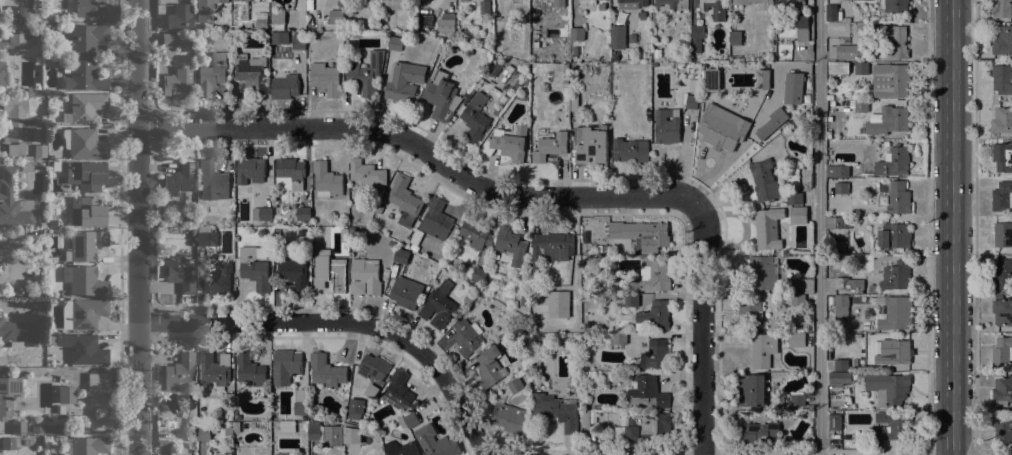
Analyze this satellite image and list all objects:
building: (245, 0)
building: (462, 0)
building: (588, 2)
building: (559, 3)
building: (789, 3)
building: (398, 4)
building: (632, 4)
building: (674, 4)
building: (309, 5)
building: (894, 5)
building: (602, 6)
building: (768, 6)
building: (484, 7)
building: (89, 8)
building: (1002, 8)
building: (206, 9)
building: (714, 9)
building: (831, 12)
building: (23, 15)
building: (641, 15)
building: (336, 17)
building: (278, 19)
building: (384, 19)
building: (173, 21)
building: (262, 23)
building: (448, 25)
building: (802, 27)
building: (32, 29)
building: (16, 32)
building: (460, 32)
building: (299, 33)
building: (577, 34)
building: (279, 37)
building: (536, 37)
building: (618, 37)
building: (84, 38)
building: (696, 38)
building: (735, 38)
building: (171, 39)
building: (395, 41)
building: (899, 41)
building: (1002, 41)
building: (299, 42)
building: (451, 42)
building: (1, 44)
building: (678, 49)
building: (575, 51)
building: (844, 52)
building: (837, 67)
building: (564, 68)
building: (861, 68)
building: (251, 70)
building: (365, 72)
building: (3, 74)
building: (83, 74)
building: (212, 74)
building: (325, 78)
building: (573, 78)
building: (1002, 78)
building: (710, 79)
building: (890, 80)
building: (404, 82)
building: (177, 83)
building: (694, 84)
building: (285, 87)
building: (792, 88)
building: (802, 89)
building: (441, 96)
building: (829, 97)
building: (690, 101)
building: (574, 102)
building: (861, 106)
building: (84, 107)
building: (497, 111)
building: (475, 118)
building: (1003, 119)
building: (889, 121)
building: (722, 122)
building: (770, 124)
building: (18, 126)
building: (666, 126)
building: (507, 142)
building: (84, 143)
building: (591, 145)
building: (550, 146)
road: (419, 148)
building: (40, 150)
building: (630, 150)
building: (1002, 156)
building: (27, 158)
building: (893, 161)
building: (26, 167)
building: (867, 168)
building: (250, 171)
building: (291, 171)
building: (366, 173)
building: (86, 175)
building: (840, 178)
building: (214, 179)
building: (179, 180)
building: (326, 180)
building: (764, 180)
building: (1002, 196)
building: (794, 198)
building: (895, 198)
building: (13, 200)
building: (404, 200)
building: (87, 212)
building: (303, 213)
building: (262, 214)
building: (798, 215)
building: (436, 219)
building: (200, 220)
building: (52, 223)
building: (838, 223)
building: (43, 225)
road: (137, 227)
road: (818, 227)
road: (927, 227)
road: (951, 227)
road: (975, 227)
building: (768, 228)
building: (192, 231)
building: (207, 234)
building: (641, 234)
building: (1002, 234)
building: (475, 236)
building: (894, 236)
building: (415, 239)
building: (392, 243)
building: (85, 244)
building: (510, 246)
building: (550, 250)
building: (401, 256)
building: (253, 267)
building: (764, 272)
building: (179, 273)
building: (294, 273)
building: (331, 273)
building: (478, 274)
building: (652, 275)
building: (1002, 275)
building: (364, 276)
building: (896, 276)
building: (84, 280)
building: (216, 280)
building: (848, 283)
building: (30, 284)
building: (802, 284)
building: (872, 288)
building: (405, 292)
building: (470, 298)
building: (798, 299)
building: (52, 300)
building: (525, 300)
building: (631, 300)
building: (438, 305)
building: (841, 308)
building: (750, 311)
building: (1002, 311)
building: (895, 312)
building: (83, 313)
building: (653, 317)
building: (517, 319)
road: (343, 321)
road: (701, 325)
building: (17, 331)
building: (467, 337)
building: (619, 339)
building: (796, 339)
building: (83, 348)
building: (763, 350)
building: (898, 351)
building: (1002, 351)
building: (31, 353)
building: (655, 354)
building: (841, 365)
building: (489, 366)
building: (214, 367)
building: (285, 367)
building: (373, 367)
building: (249, 369)
building: (2, 370)
building: (178, 371)
building: (326, 372)
building: (839, 378)
building: (97, 382)
building: (515, 385)
building: (888, 388)
building: (751, 389)
building: (397, 391)
building: (1002, 392)
building: (646, 393)
building: (66, 394)
building: (7, 395)
building: (797, 400)
building: (597, 407)
building: (300, 408)
building: (60, 409)
building: (556, 410)
building: (743, 413)
building: (352, 414)
building: (237, 417)
building: (508, 417)
building: (585, 418)
building: (411, 419)
building: (834, 420)
building: (401, 422)
building: (287, 426)
building: (644, 426)
building: (891, 426)
building: (237, 427)
building: (18, 428)
building: (1002, 428)
building: (44, 429)
building: (203, 433)
building: (314, 433)
building: (757, 433)
building: (352, 435)
building: (9, 442)
building: (435, 442)
building: (163, 443)
building: (85, 446)
building: (401, 448)
building: (226, 453)
building: (171, 454)
building: (281, 454)
building: (296, 454)

